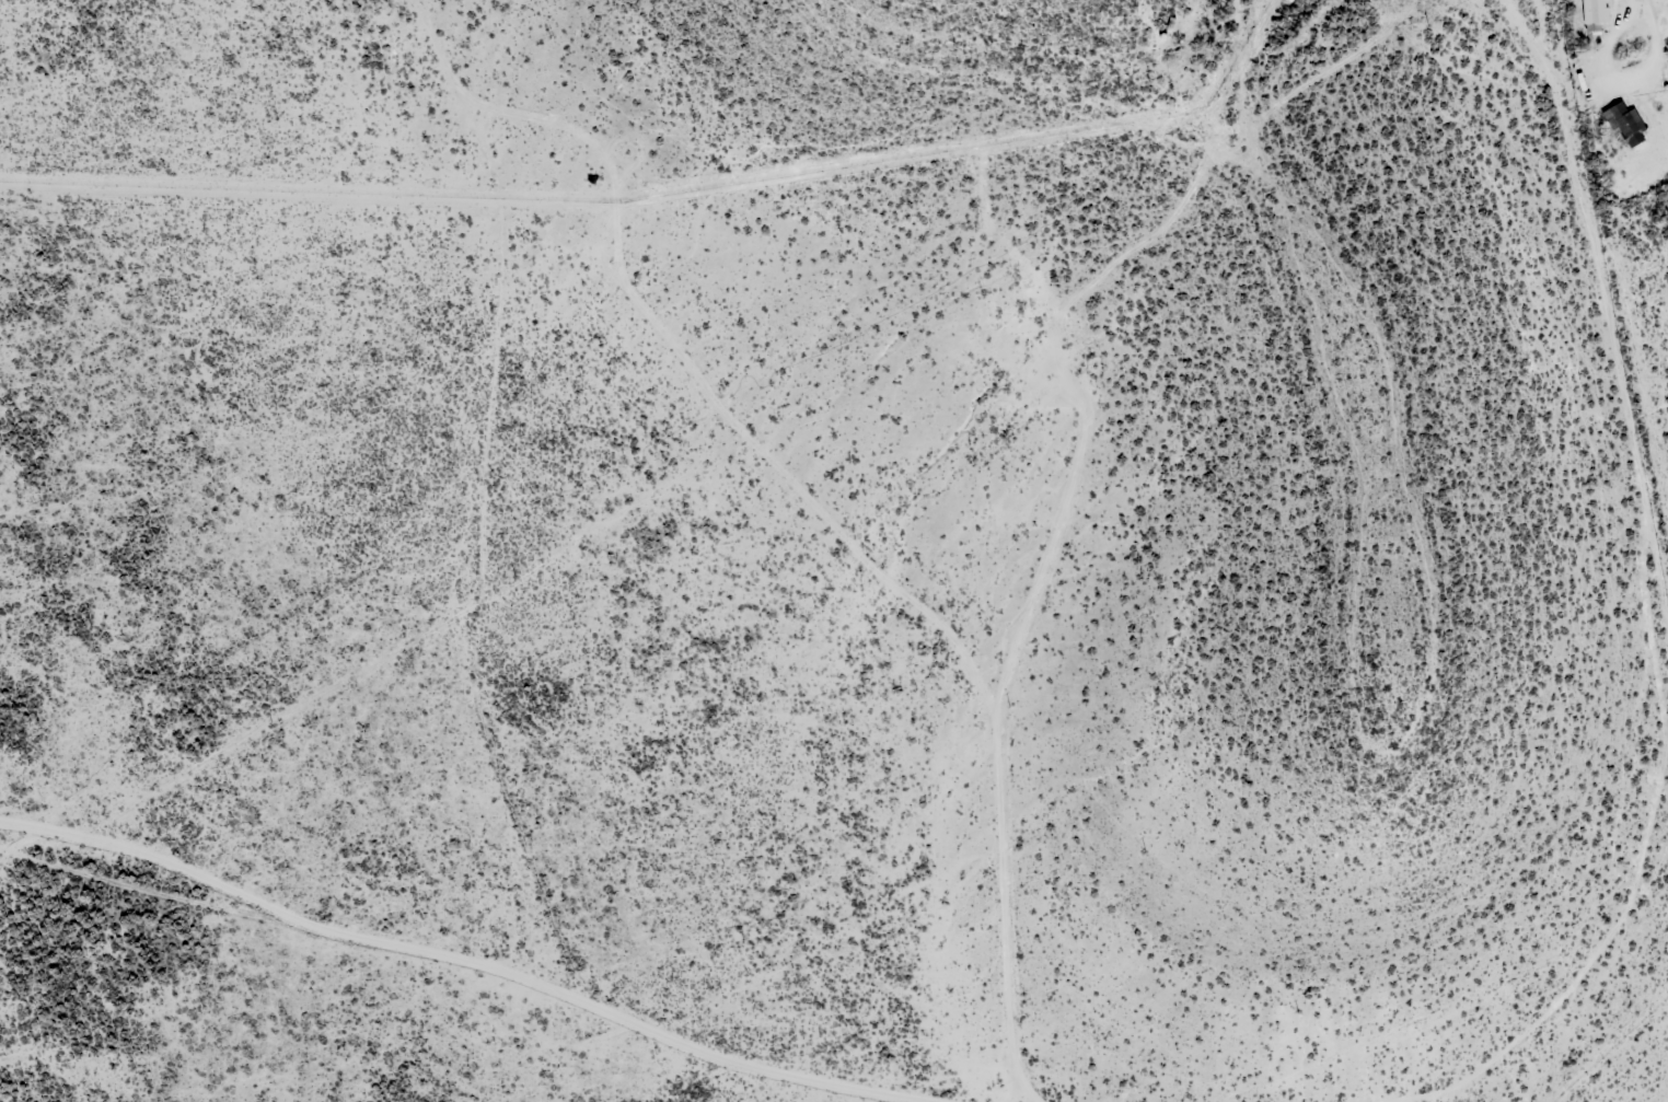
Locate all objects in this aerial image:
building: (1591, 13)
road: (1622, 78)
building: (1622, 120)

